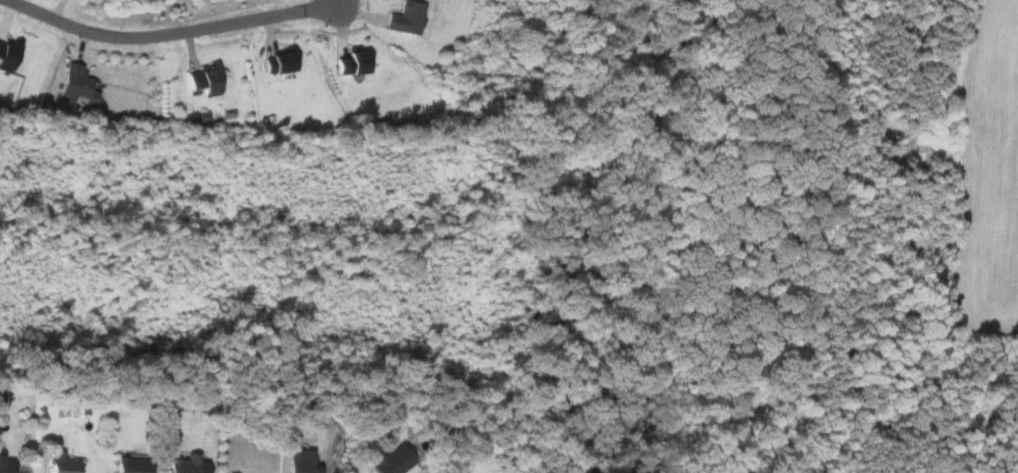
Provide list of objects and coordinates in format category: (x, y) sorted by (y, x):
building: (406, 17)
road: (170, 33)
building: (7, 55)
building: (276, 62)
building: (349, 63)
building: (199, 80)
building: (74, 84)
building: (388, 460)
building: (299, 462)
building: (59, 463)
building: (5, 465)
building: (128, 465)
building: (185, 465)

